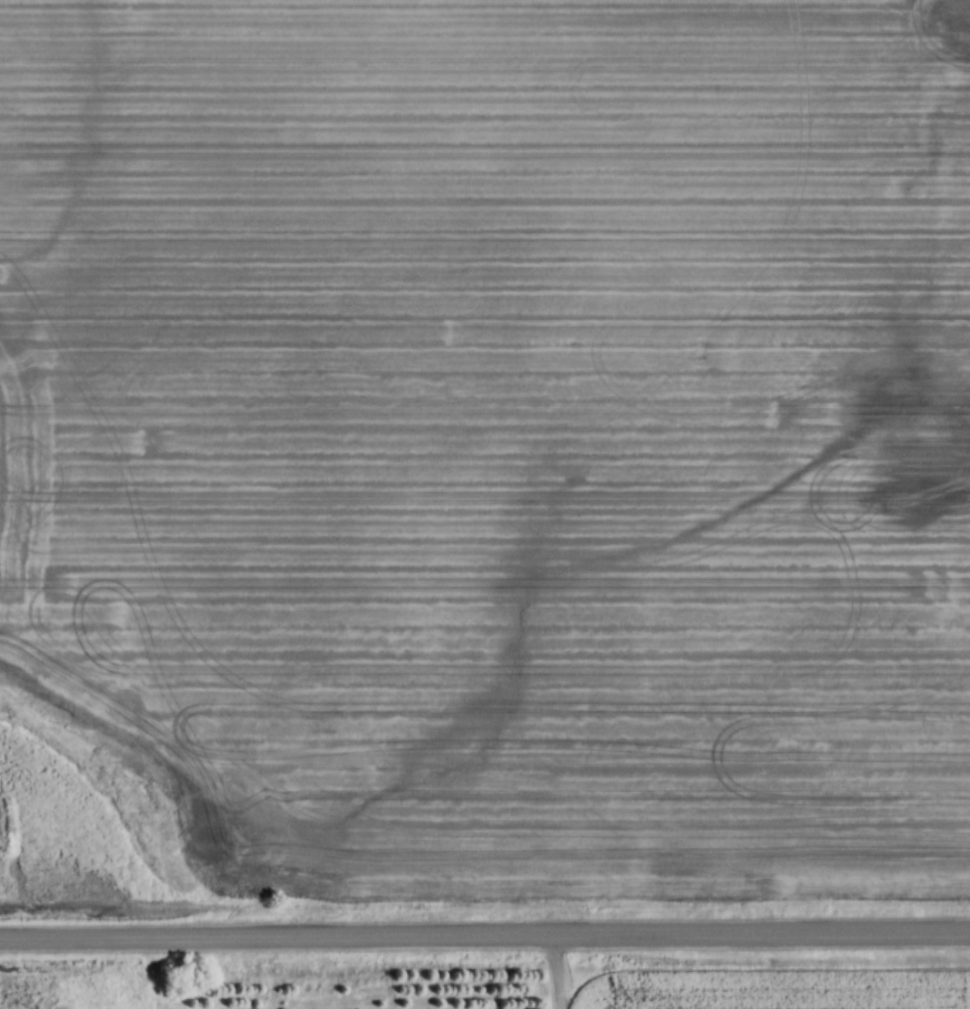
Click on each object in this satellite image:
road: (485, 939)

